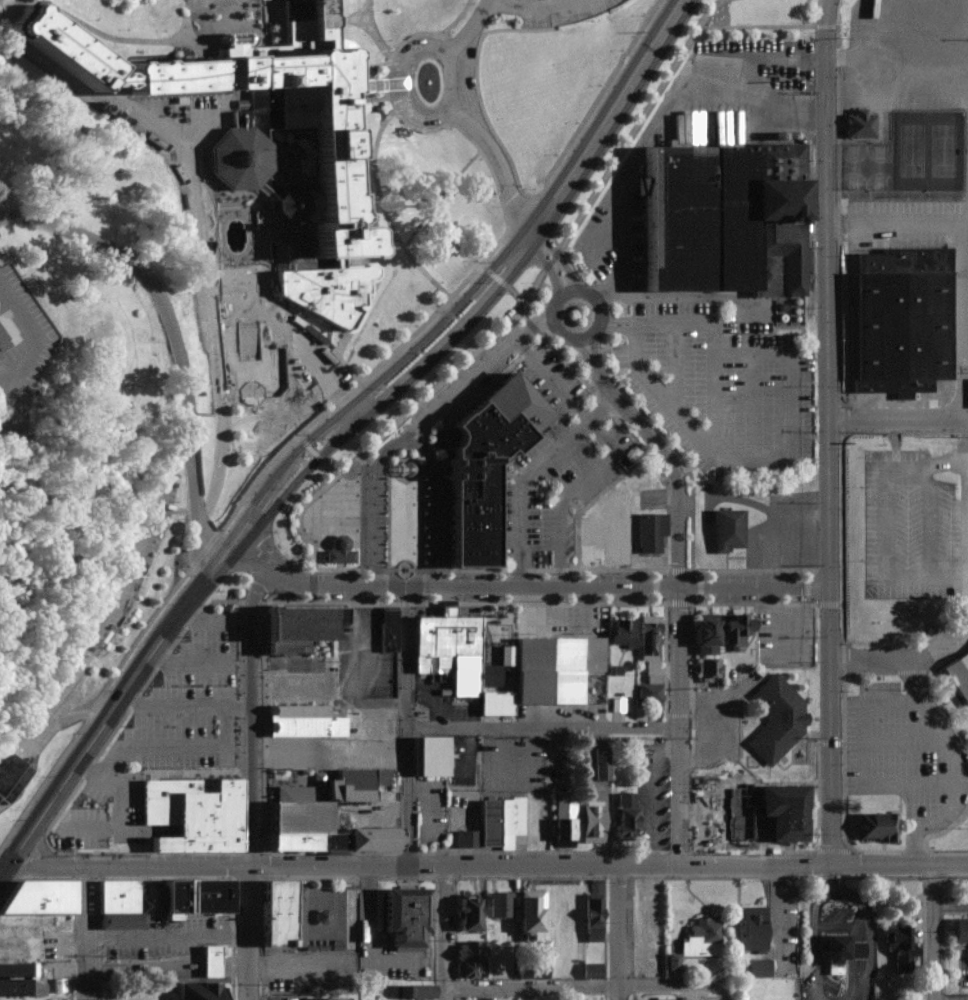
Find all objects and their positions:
road: (506, 2)
road: (526, 2)
road: (547, 3)
road: (829, 4)
parking lot: (550, 10)
road: (805, 11)
road: (762, 24)
road: (466, 44)
road: (456, 46)
road: (404, 85)
road: (476, 85)
road: (625, 90)
road: (759, 101)
road: (464, 107)
road: (404, 121)
road: (656, 123)
building: (863, 124)
park: (926, 150)
road: (620, 151)
road: (497, 161)
park: (864, 166)
building: (342, 176)
road: (437, 196)
road: (551, 206)
road: (382, 210)
road: (8, 215)
building: (705, 218)
road: (551, 260)
road: (131, 262)
road: (454, 290)
road: (562, 292)
building: (26, 298)
building: (904, 318)
road: (453, 332)
parking lot: (290, 347)
road: (308, 355)
road: (406, 357)
road: (900, 417)
road: (795, 422)
road: (346, 431)
road: (380, 434)
power tower: (958, 434)
road: (829, 435)
power tower: (850, 438)
road: (664, 451)
building: (489, 465)
fountain: (402, 468)
road: (193, 479)
road: (286, 490)
road: (252, 504)
building: (341, 527)
building: (729, 530)
building: (611, 531)
building: (652, 533)
road: (225, 551)
road: (253, 551)
road: (285, 577)
road: (116, 588)
road: (566, 590)
parking lot: (102, 615)
building: (300, 629)
building: (735, 630)
road: (954, 630)
building: (623, 633)
building: (709, 636)
road: (884, 656)
building: (651, 660)
building: (460, 662)
building: (205, 666)
building: (556, 669)
building: (710, 669)
building: (955, 680)
road: (122, 687)
road: (248, 713)
building: (779, 720)
road: (406, 727)
road: (542, 727)
road: (676, 727)
building: (300, 735)
building: (433, 757)
road: (959, 759)
building: (602, 772)
building: (12, 777)
building: (966, 778)
building: (788, 812)
building: (195, 815)
building: (300, 816)
building: (566, 818)
building: (594, 822)
building: (495, 825)
building: (627, 825)
building: (876, 827)
building: (729, 834)
road: (20, 838)
road: (40, 840)
road: (529, 864)
road: (28, 866)
road: (71, 866)
road: (2, 869)
building: (45, 898)
building: (160, 902)
building: (502, 907)
building: (533, 912)
building: (472, 913)
building: (281, 915)
building: (572, 915)
building: (594, 917)
building: (410, 918)
building: (650, 924)
building: (754, 929)
road: (934, 931)
building: (962, 931)
road: (90, 932)
road: (248, 932)
road: (443, 932)
road: (618, 932)
building: (702, 938)
building: (899, 947)
building: (843, 952)
building: (472, 959)
building: (212, 961)
building: (760, 968)
building: (563, 969)
building: (19, 981)
road: (588, 984)
building: (202, 991)
road: (529, 992)
building: (330, 999)
building: (484, 999)
building: (887, 999)

